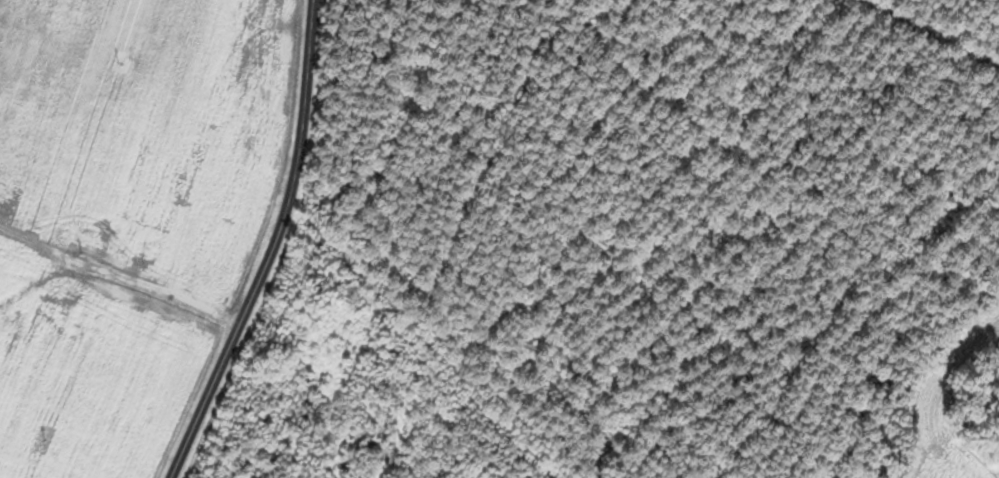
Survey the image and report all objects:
road: (272, 248)

